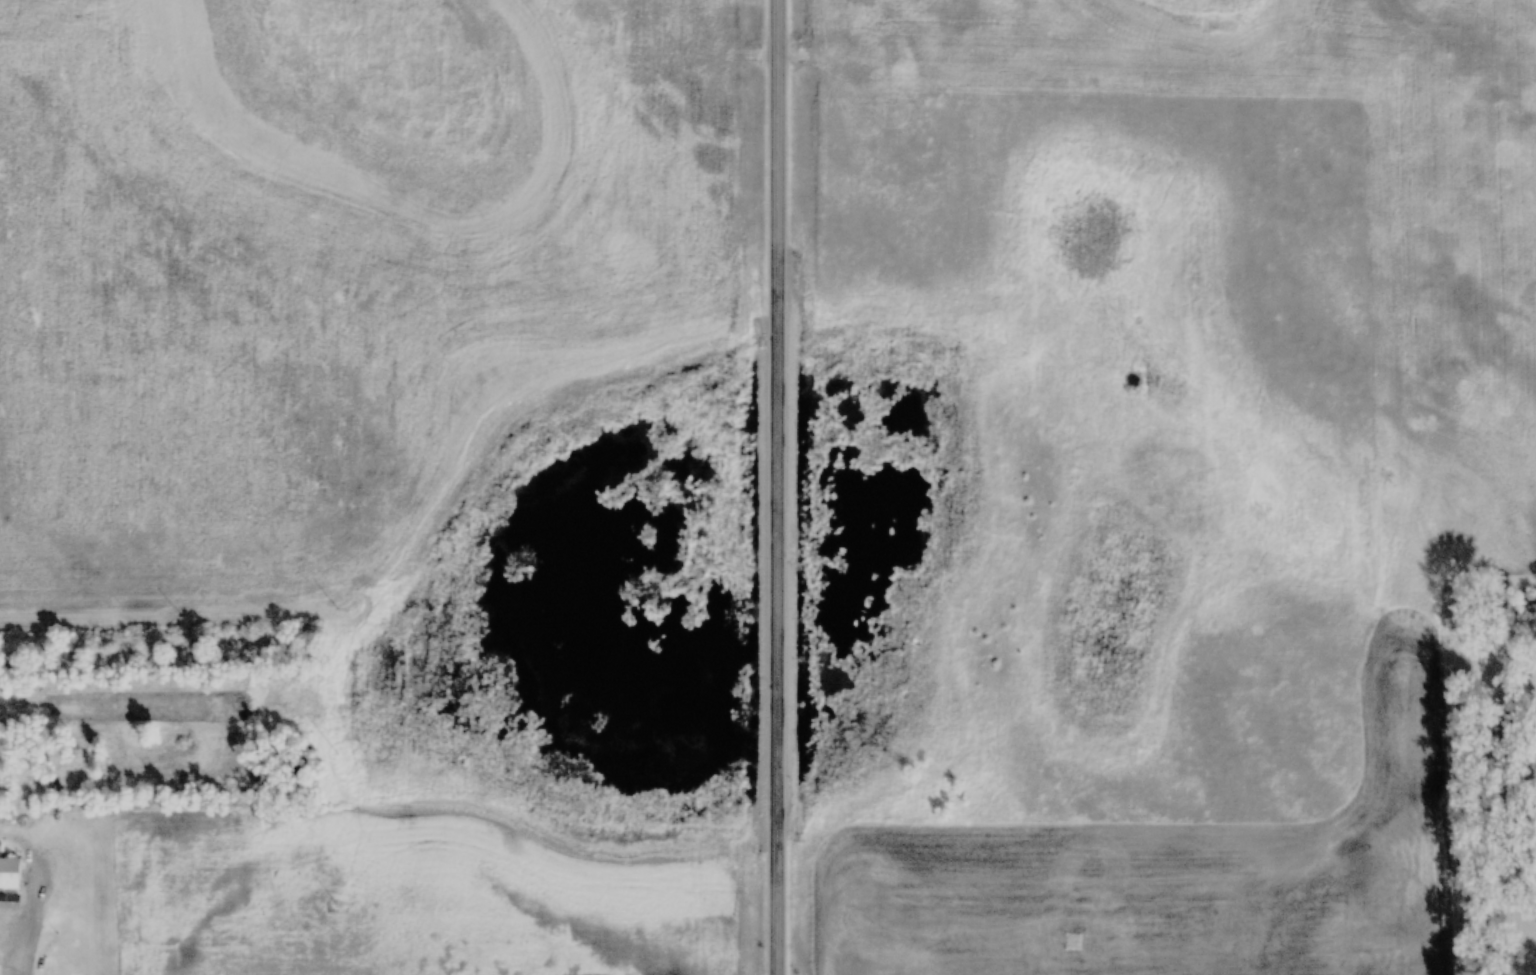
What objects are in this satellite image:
road: (782, 487)
building: (10, 873)
building: (10, 902)

